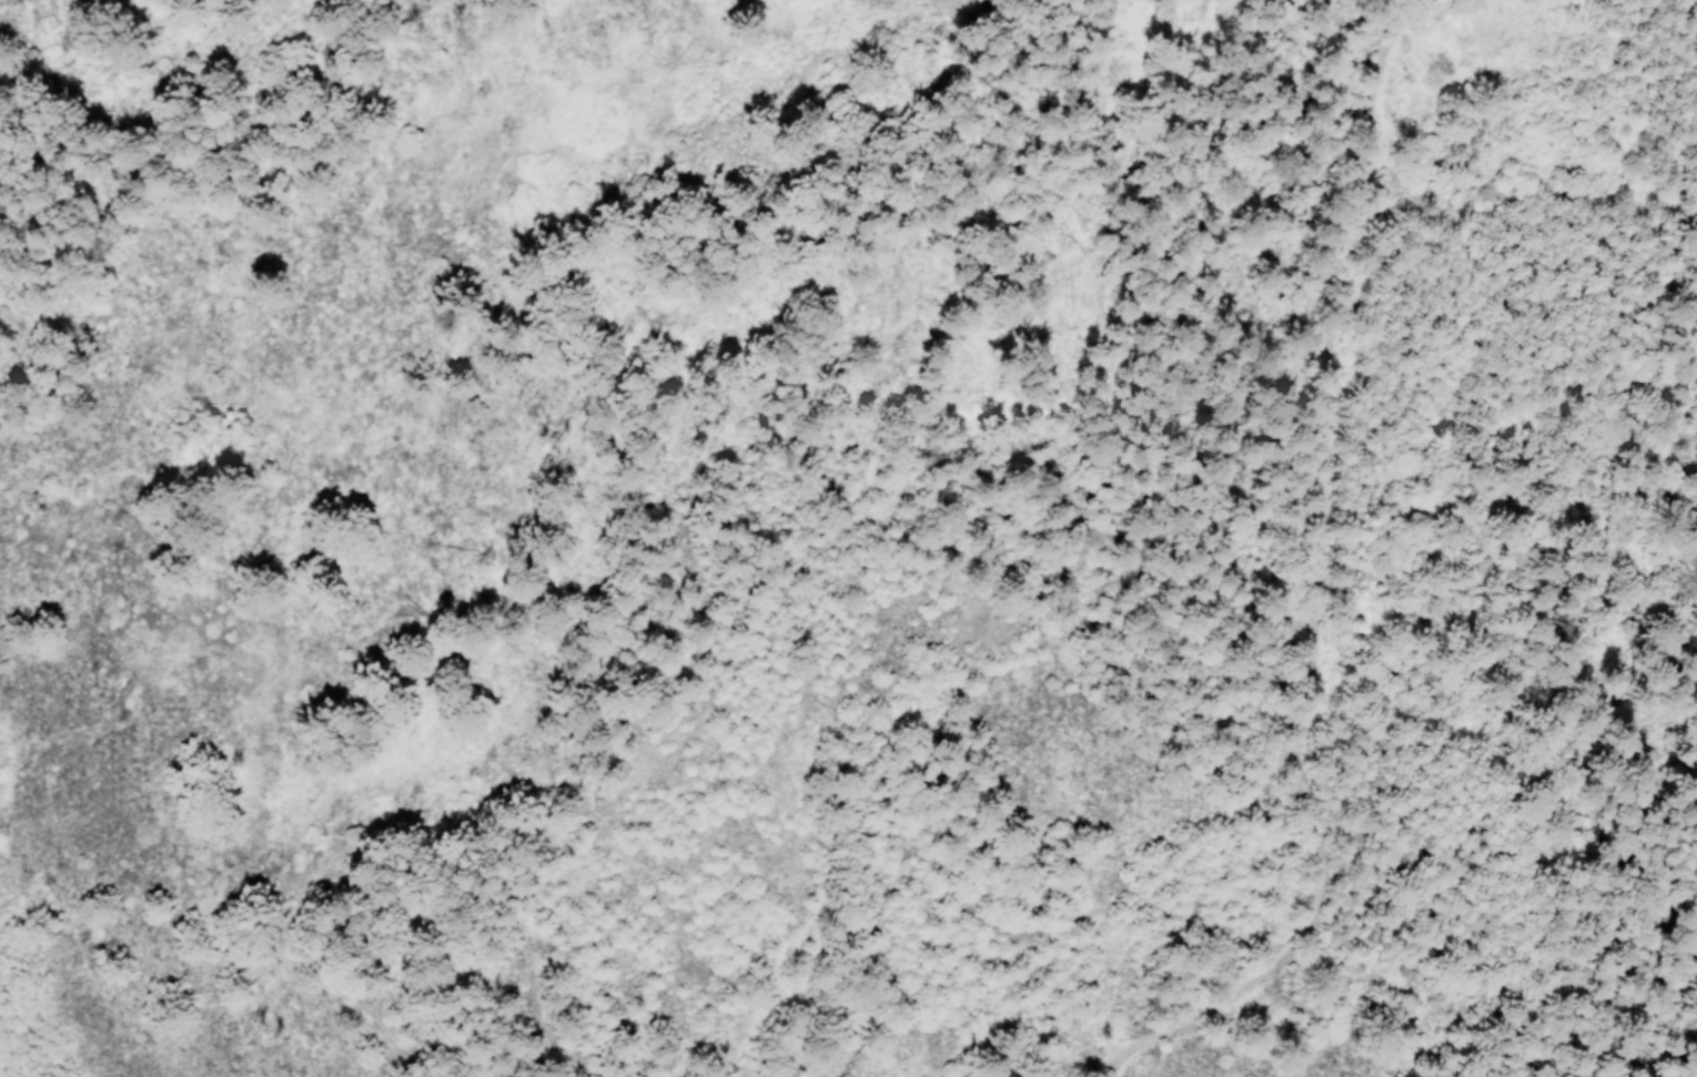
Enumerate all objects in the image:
road: (1388, 149)
road: (1547, 343)
road: (1326, 740)
road: (1691, 1069)

